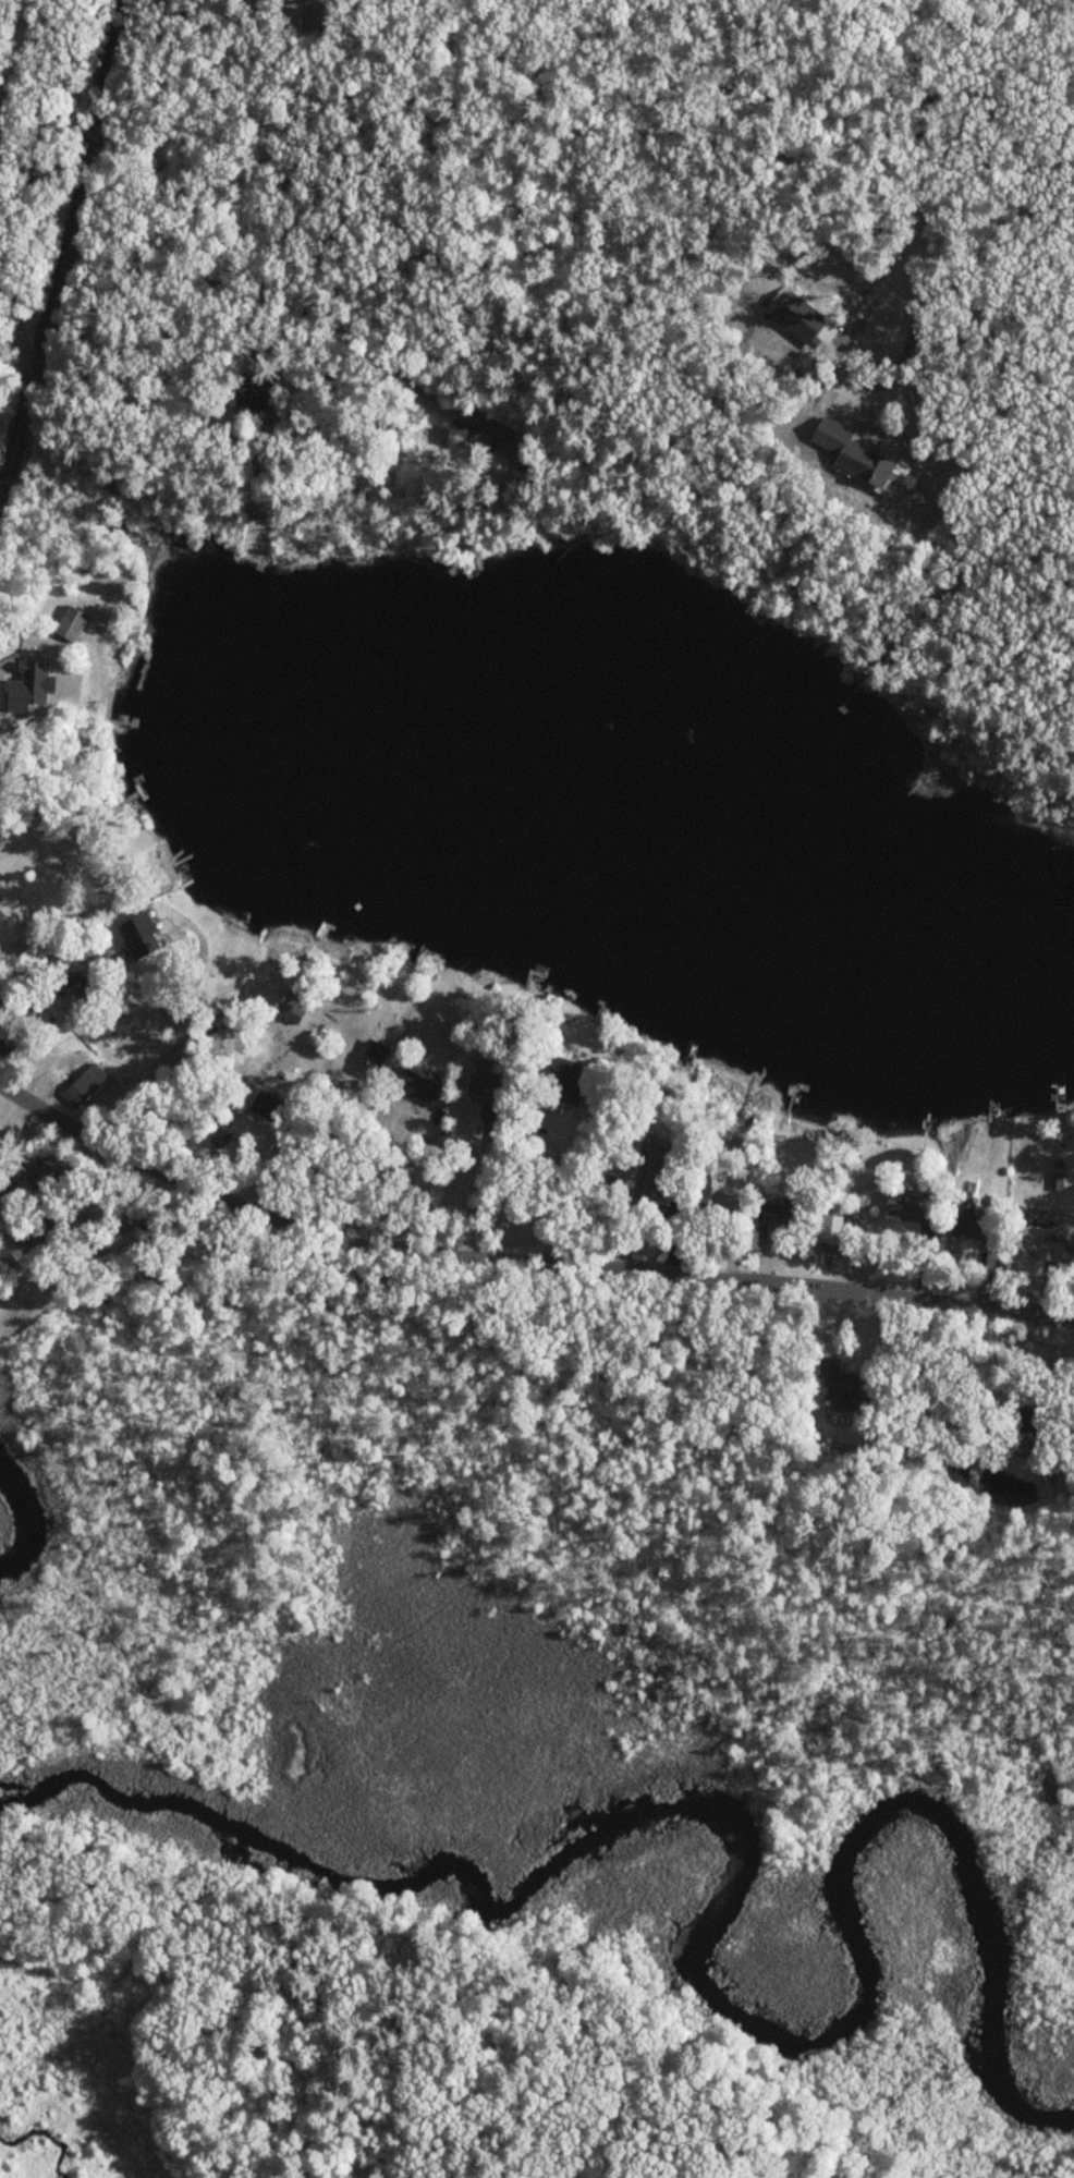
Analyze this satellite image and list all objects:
road: (920, 117)
road: (42, 163)
road: (71, 241)
road: (296, 306)
road: (22, 346)
road: (859, 380)
building: (242, 398)
building: (461, 433)
building: (849, 455)
building: (70, 623)
building: (137, 935)
road: (48, 954)
building: (65, 984)
building: (292, 1006)
building: (122, 1014)
building: (316, 1039)
building: (370, 1058)
building: (563, 1076)
building: (481, 1079)
building: (84, 1084)
building: (414, 1085)
building: (333, 1100)
road: (549, 1133)
building: (220, 1137)
road: (288, 1145)
building: (650, 1173)
building: (719, 1192)
building: (911, 1208)
building: (778, 1212)
building: (967, 1226)
building: (1025, 1237)
building: (117, 1243)
road: (518, 1263)

